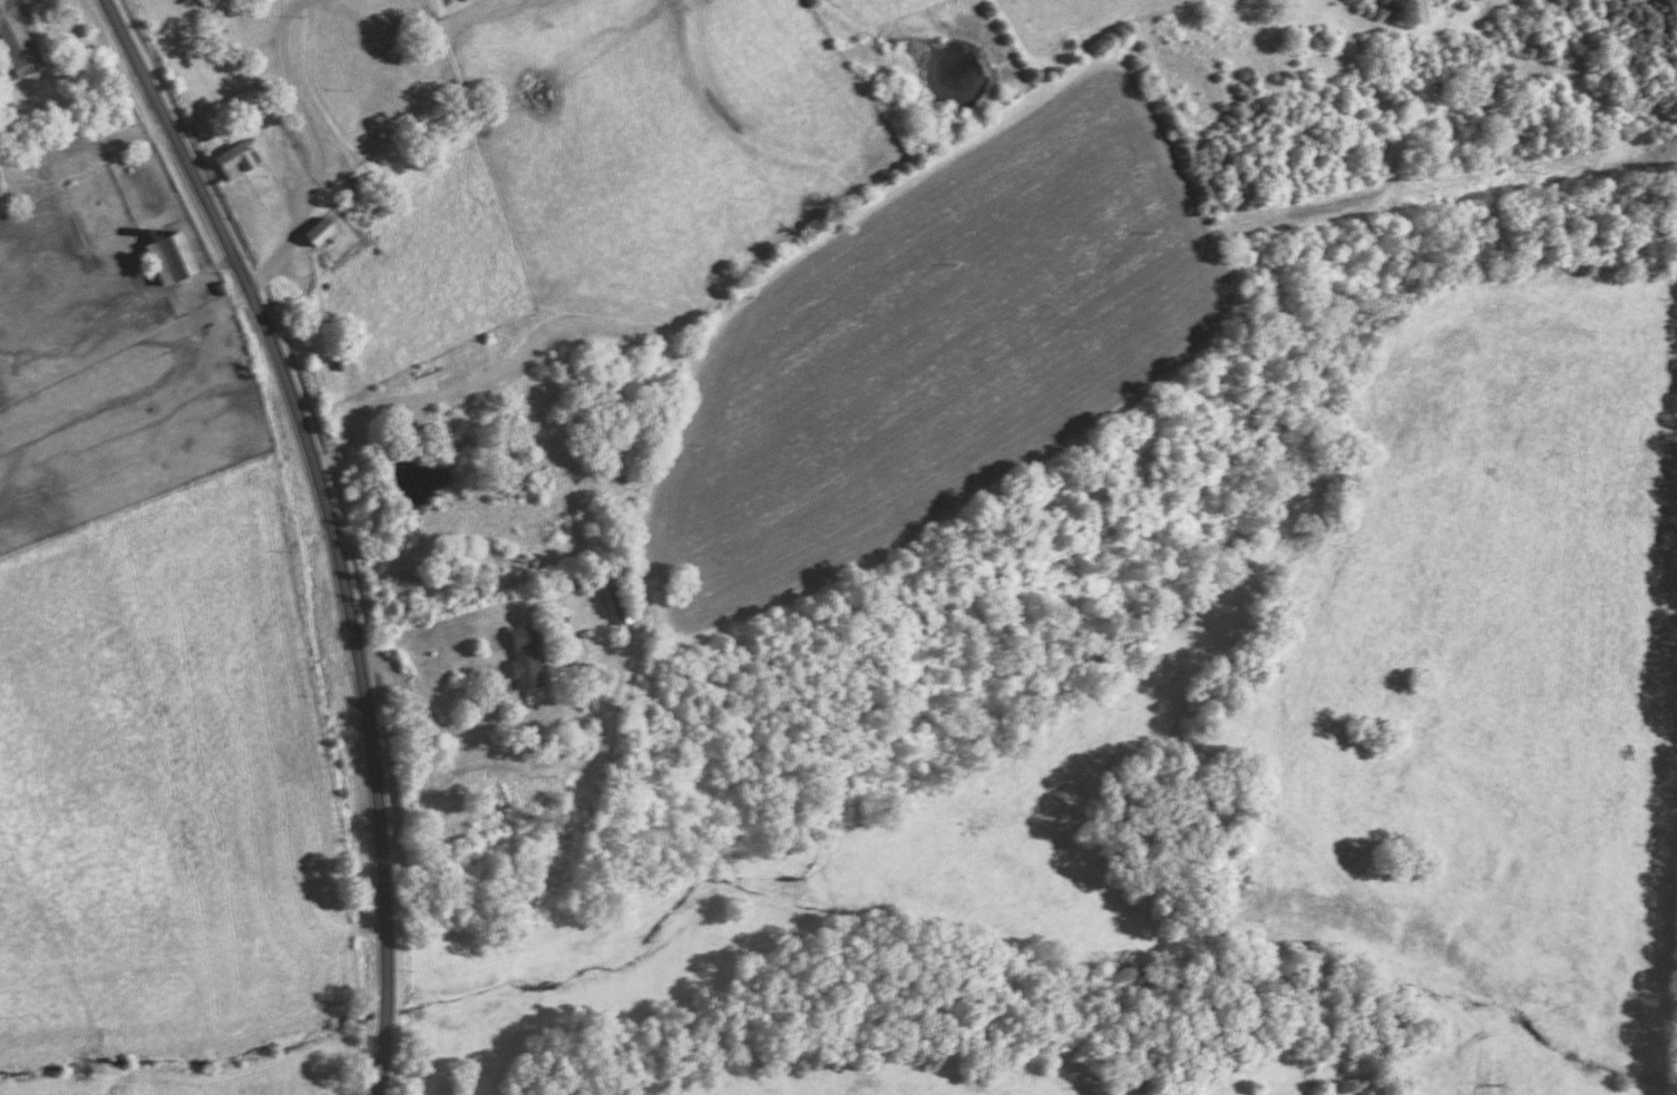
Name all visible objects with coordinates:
road: (283, 14)
road: (285, 29)
building: (12, 48)
building: (227, 167)
building: (309, 236)
building: (163, 260)
road: (333, 526)
building: (614, 603)
building: (520, 665)
road: (443, 729)
building: (494, 802)

